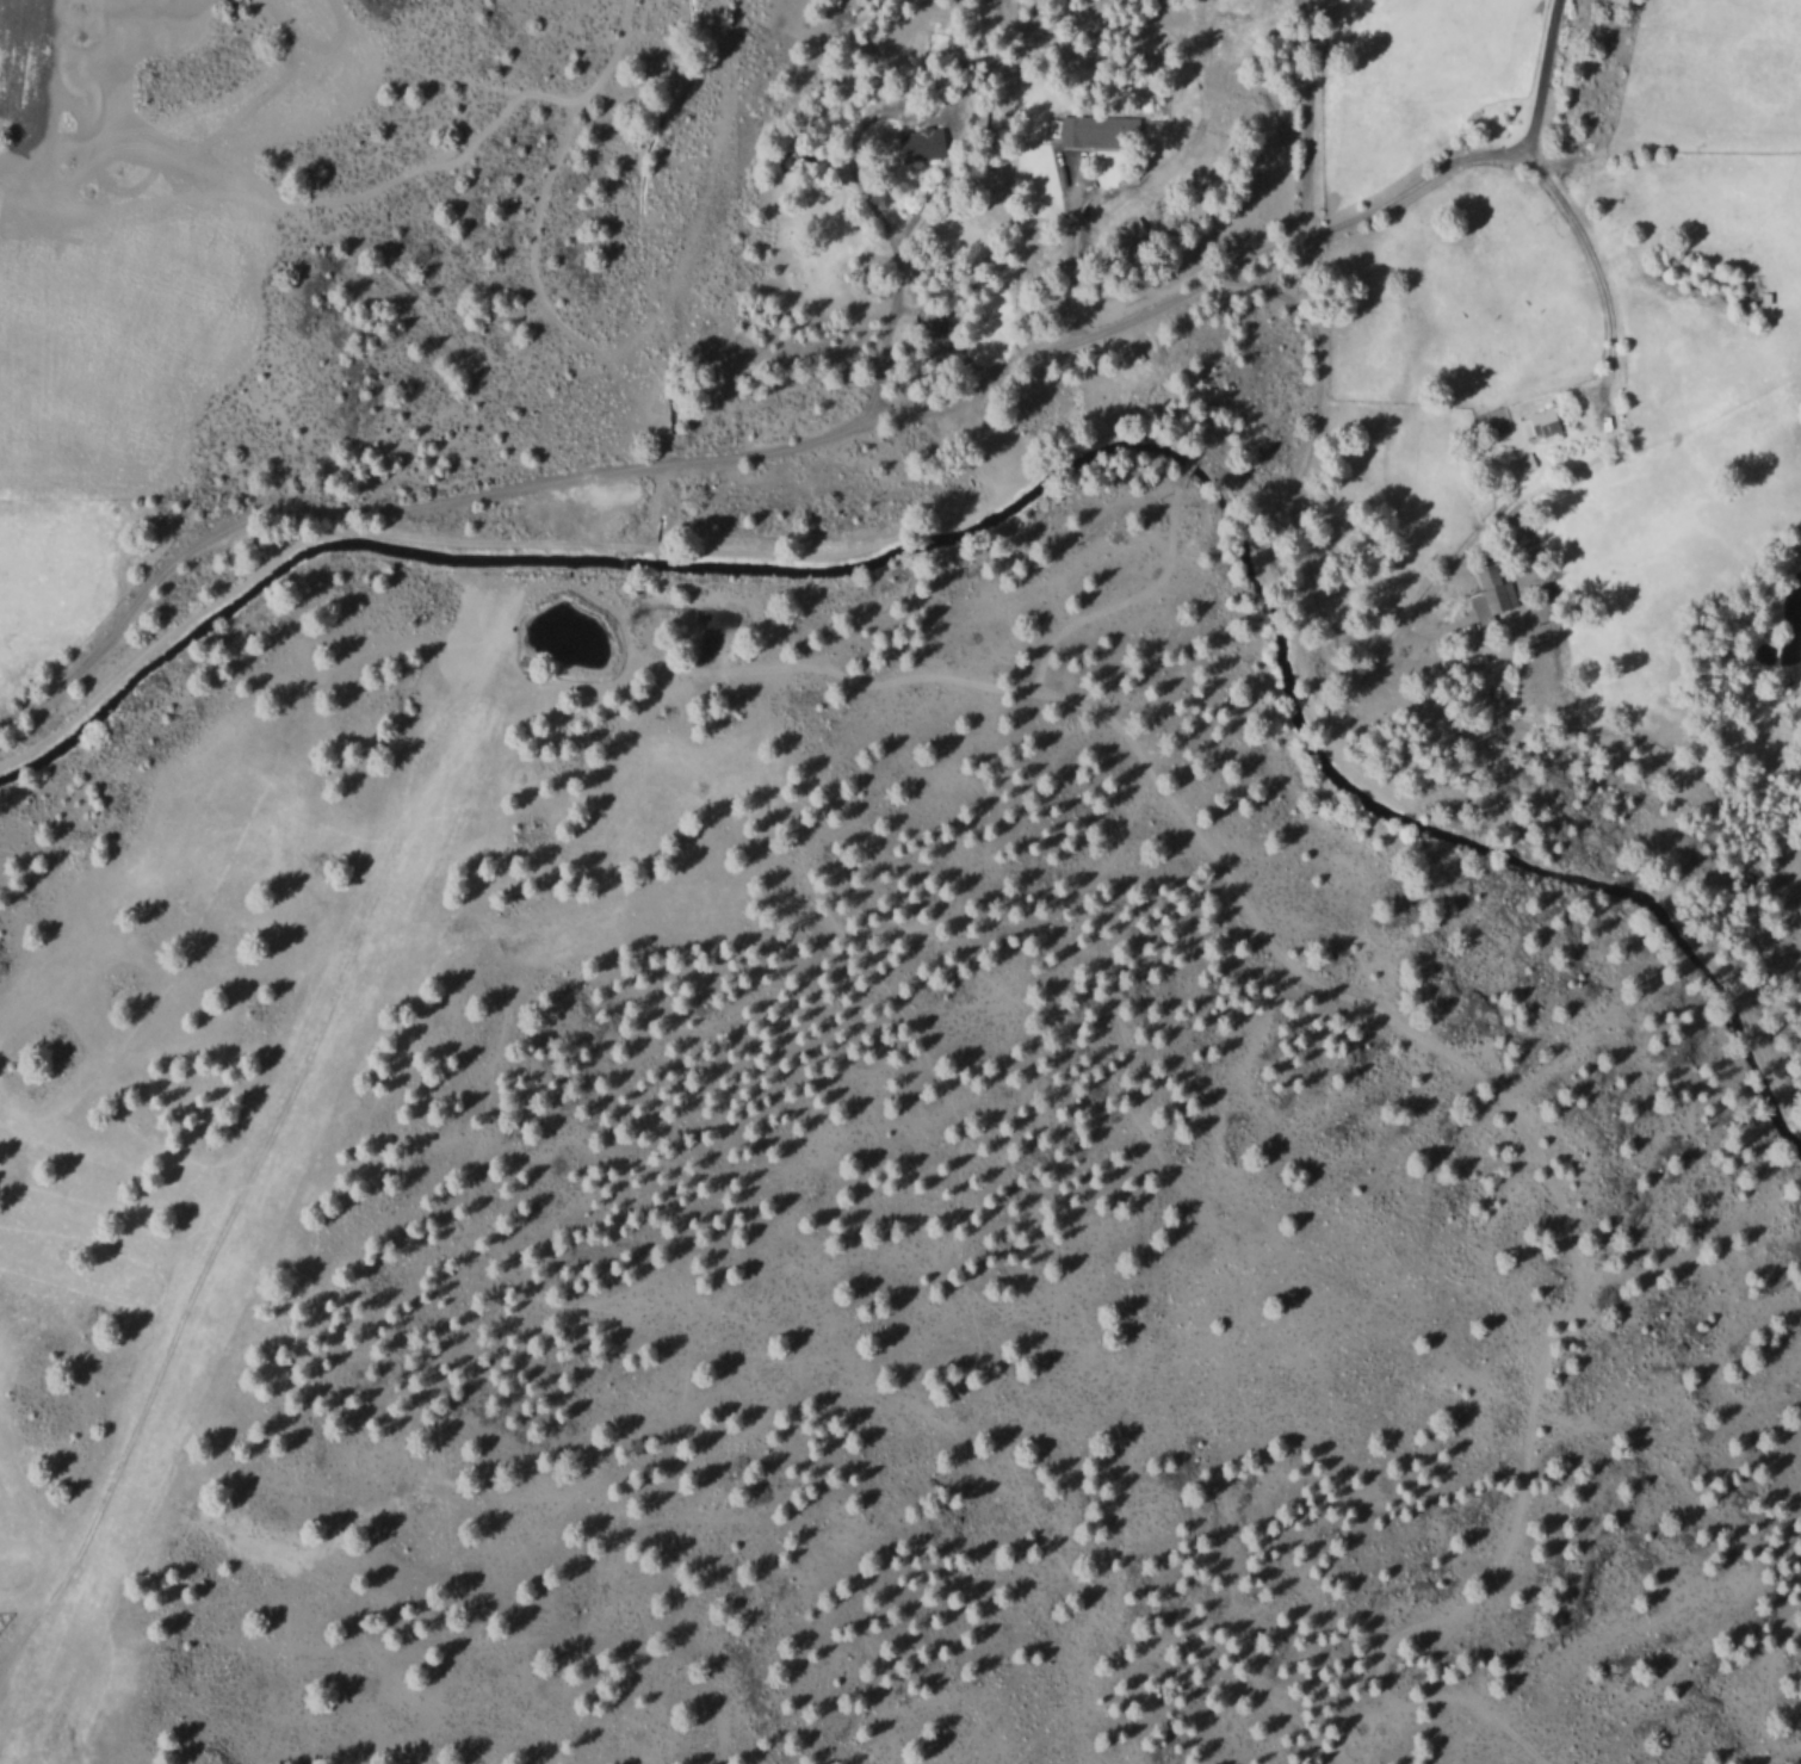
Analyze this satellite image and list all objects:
building: (1089, 128)
building: (912, 144)
crop: (208, 173)
road: (1070, 346)
building: (1535, 422)
road: (1189, 464)
road: (223, 524)
road: (1156, 576)
building: (1490, 592)
road: (32, 1666)
road: (326, 1721)

